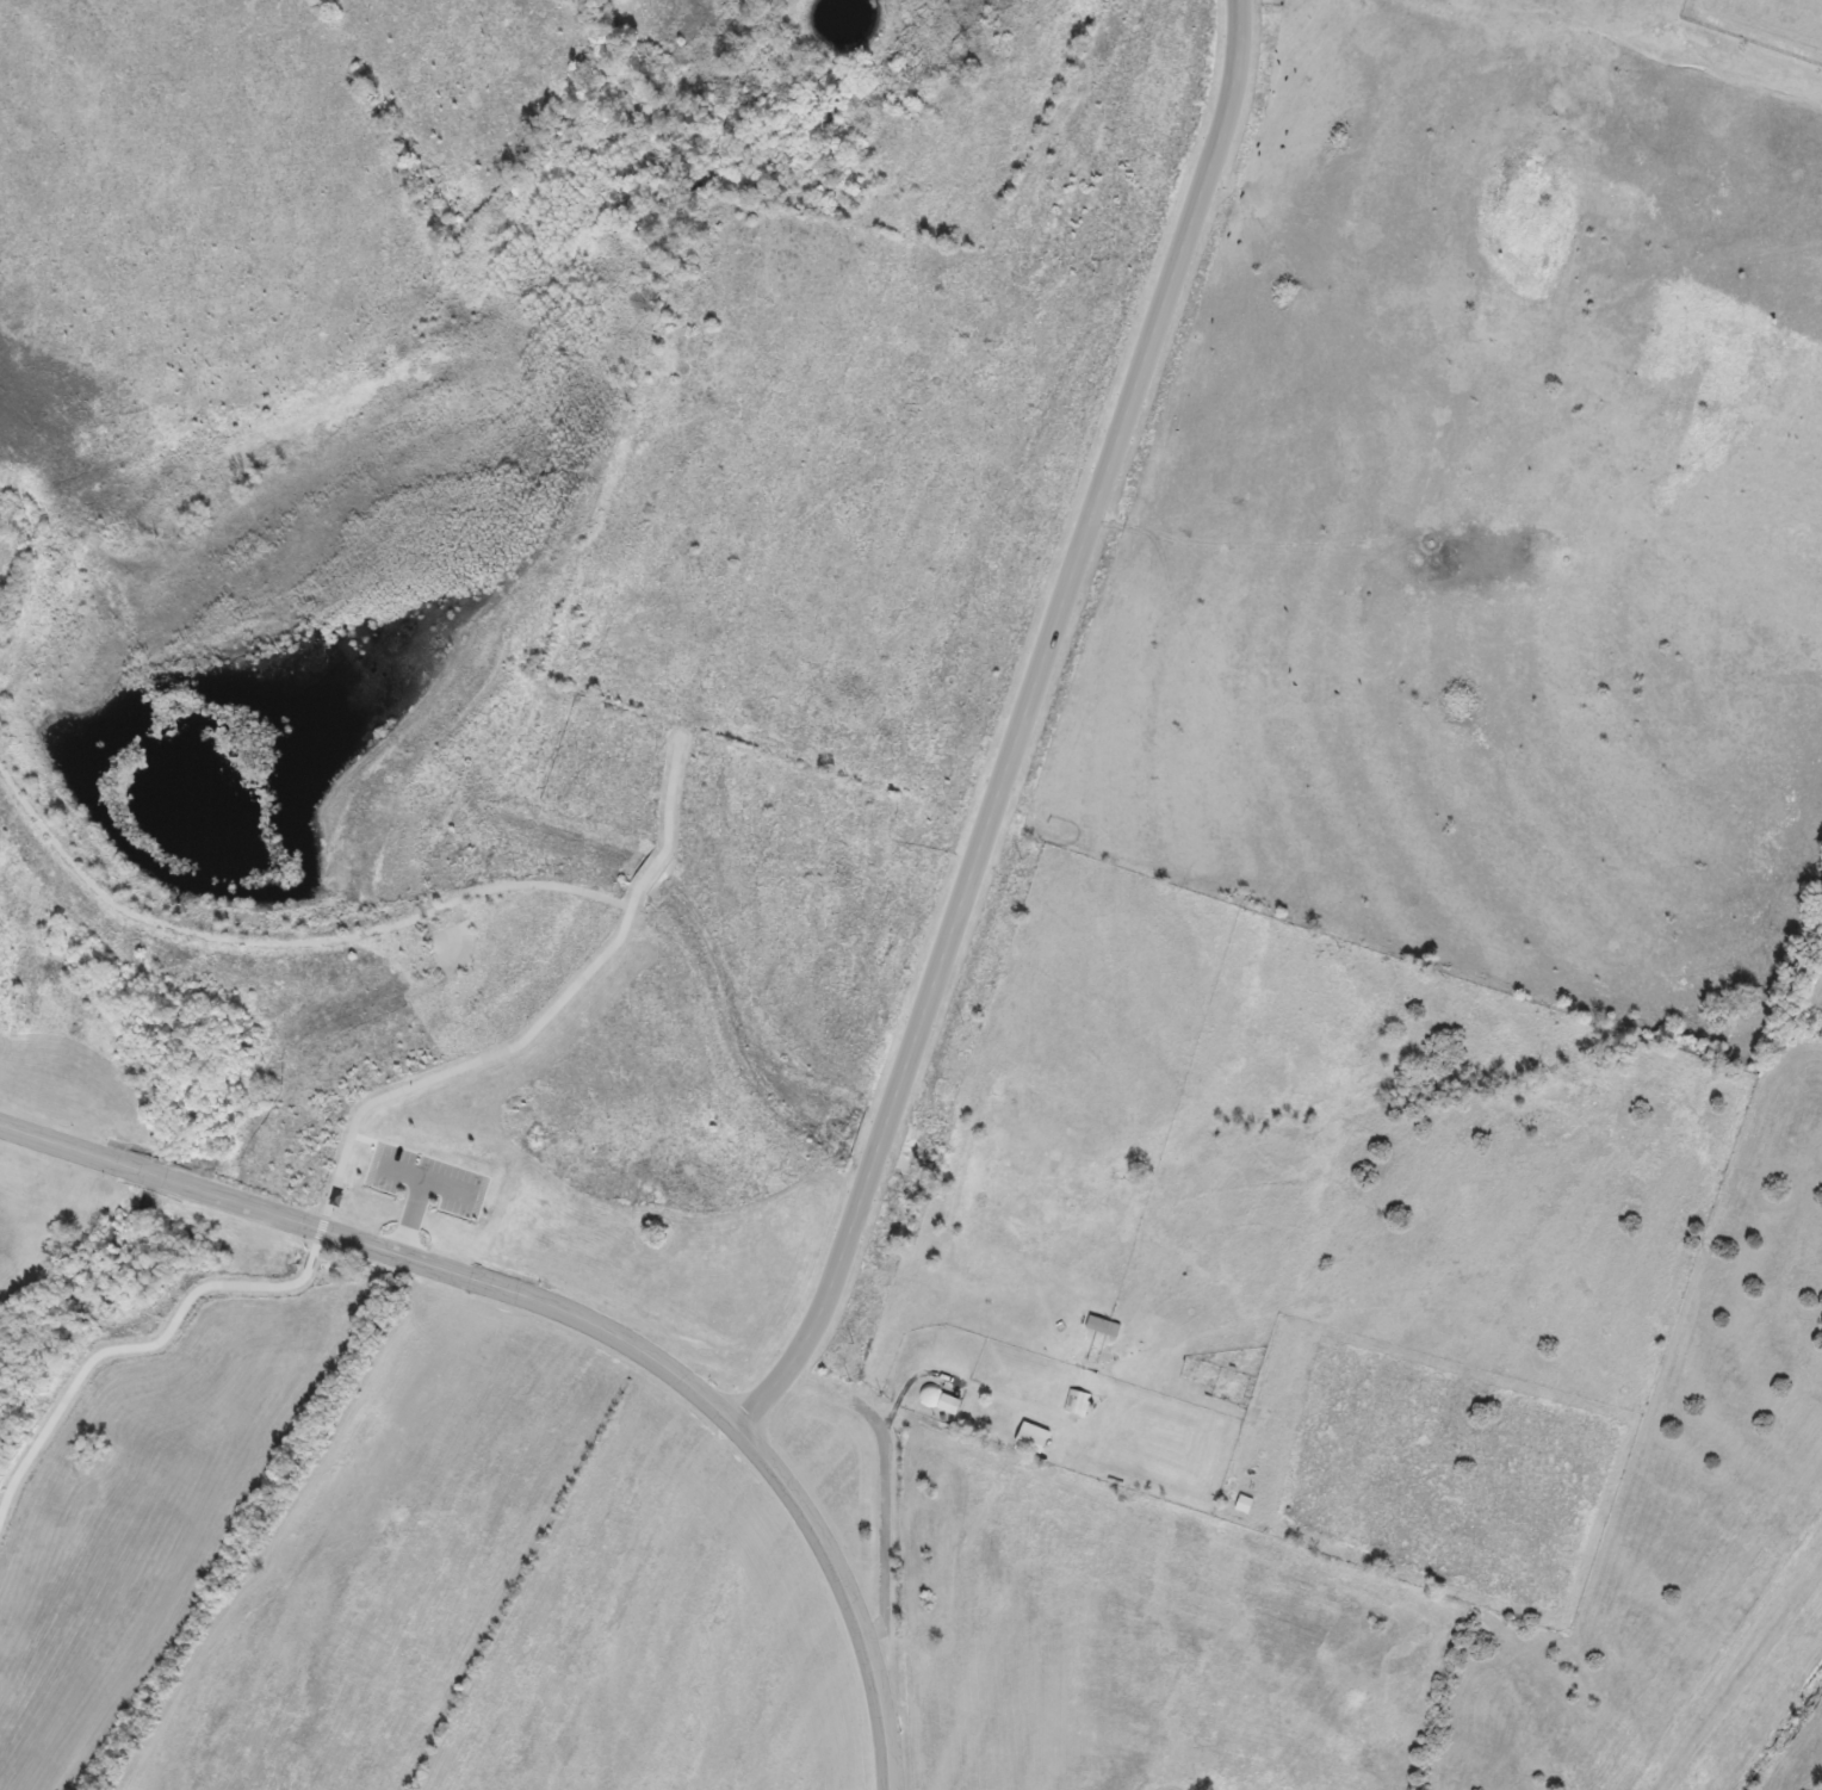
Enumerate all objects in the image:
road: (1020, 727)
road: (347, 1148)
road: (571, 1315)
building: (1104, 1327)
building: (1077, 1402)
building: (953, 1405)
building: (1036, 1438)
building: (1246, 1505)

